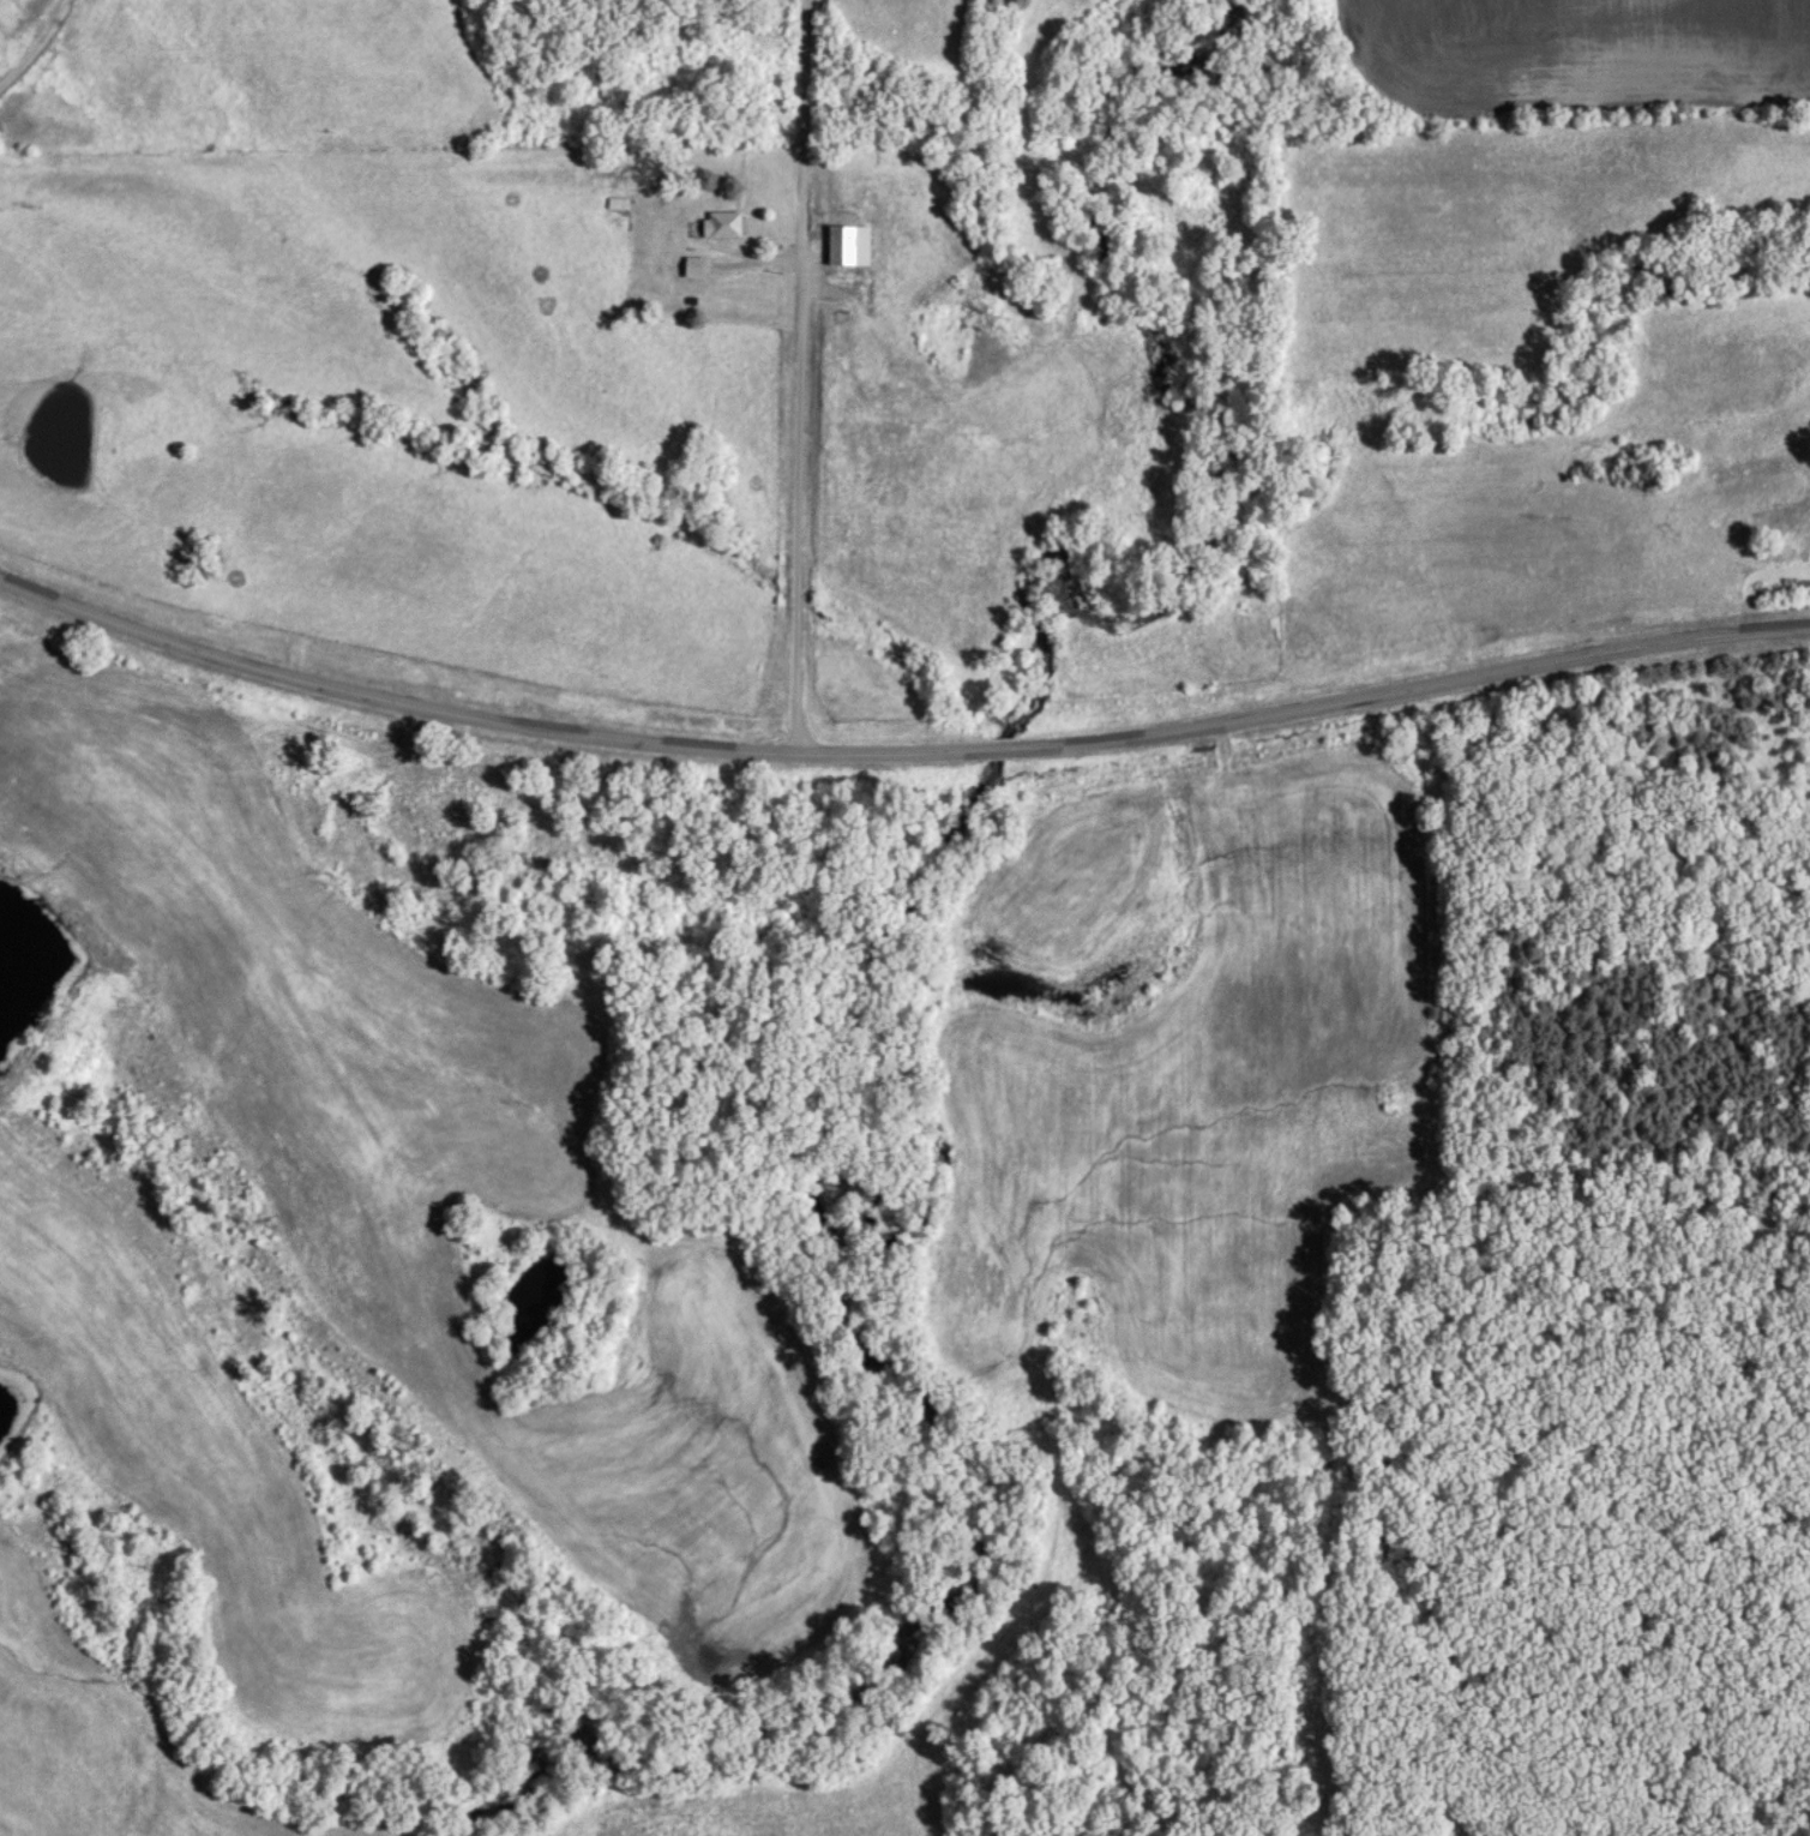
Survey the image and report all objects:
road: (37, 47)
building: (721, 223)
building: (848, 245)
road: (799, 379)
road: (898, 757)

